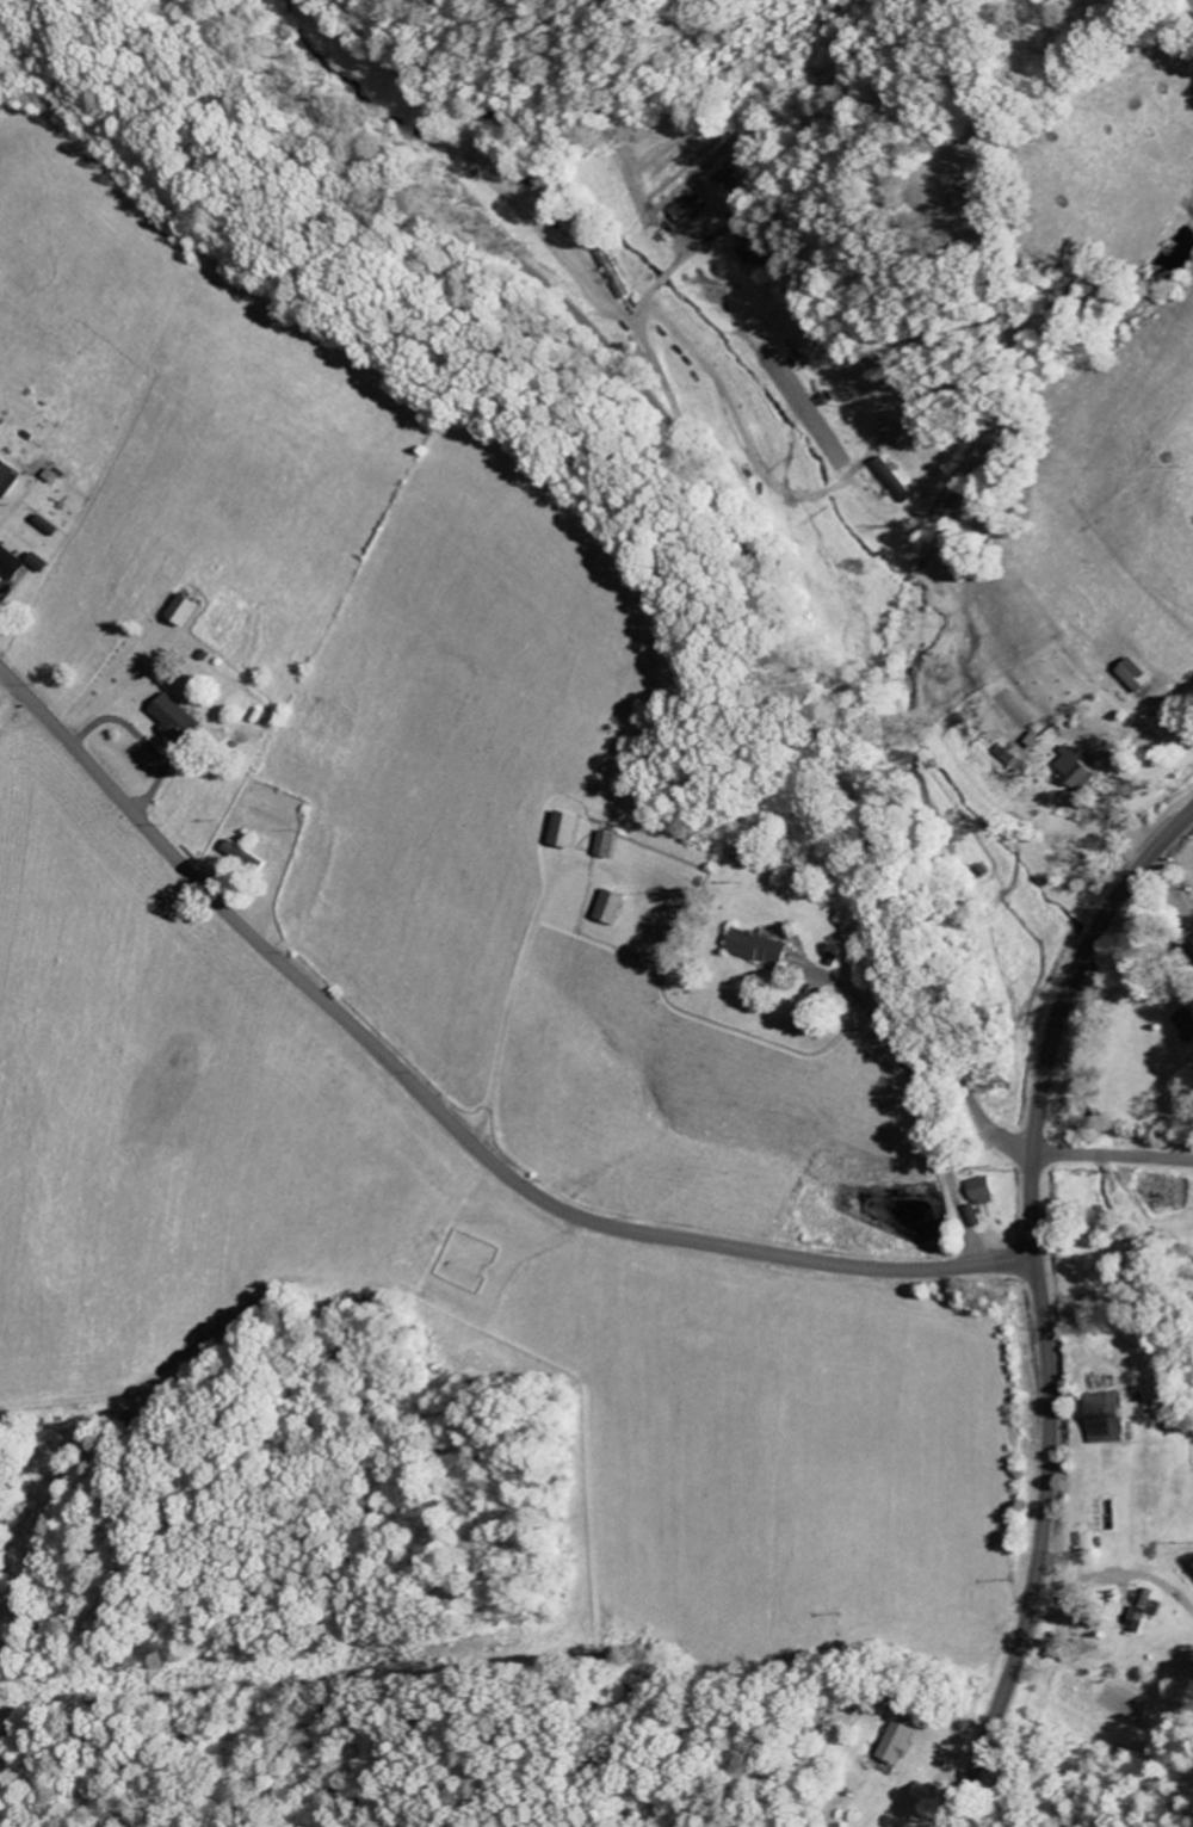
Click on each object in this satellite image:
road: (1055, 76)
building: (755, 251)
building: (900, 481)
road: (723, 505)
building: (42, 562)
building: (11, 563)
building: (188, 610)
building: (1142, 677)
building: (178, 721)
road: (7, 728)
building: (1081, 769)
building: (573, 831)
building: (612, 845)
building: (241, 854)
building: (616, 908)
building: (766, 949)
building: (1186, 1024)
road: (445, 1117)
road: (1113, 1153)
building: (985, 1191)
building: (976, 1217)
road: (1040, 1306)
building: (1115, 1416)
road: (1117, 1569)
building: (1155, 1606)
building: (898, 1743)

